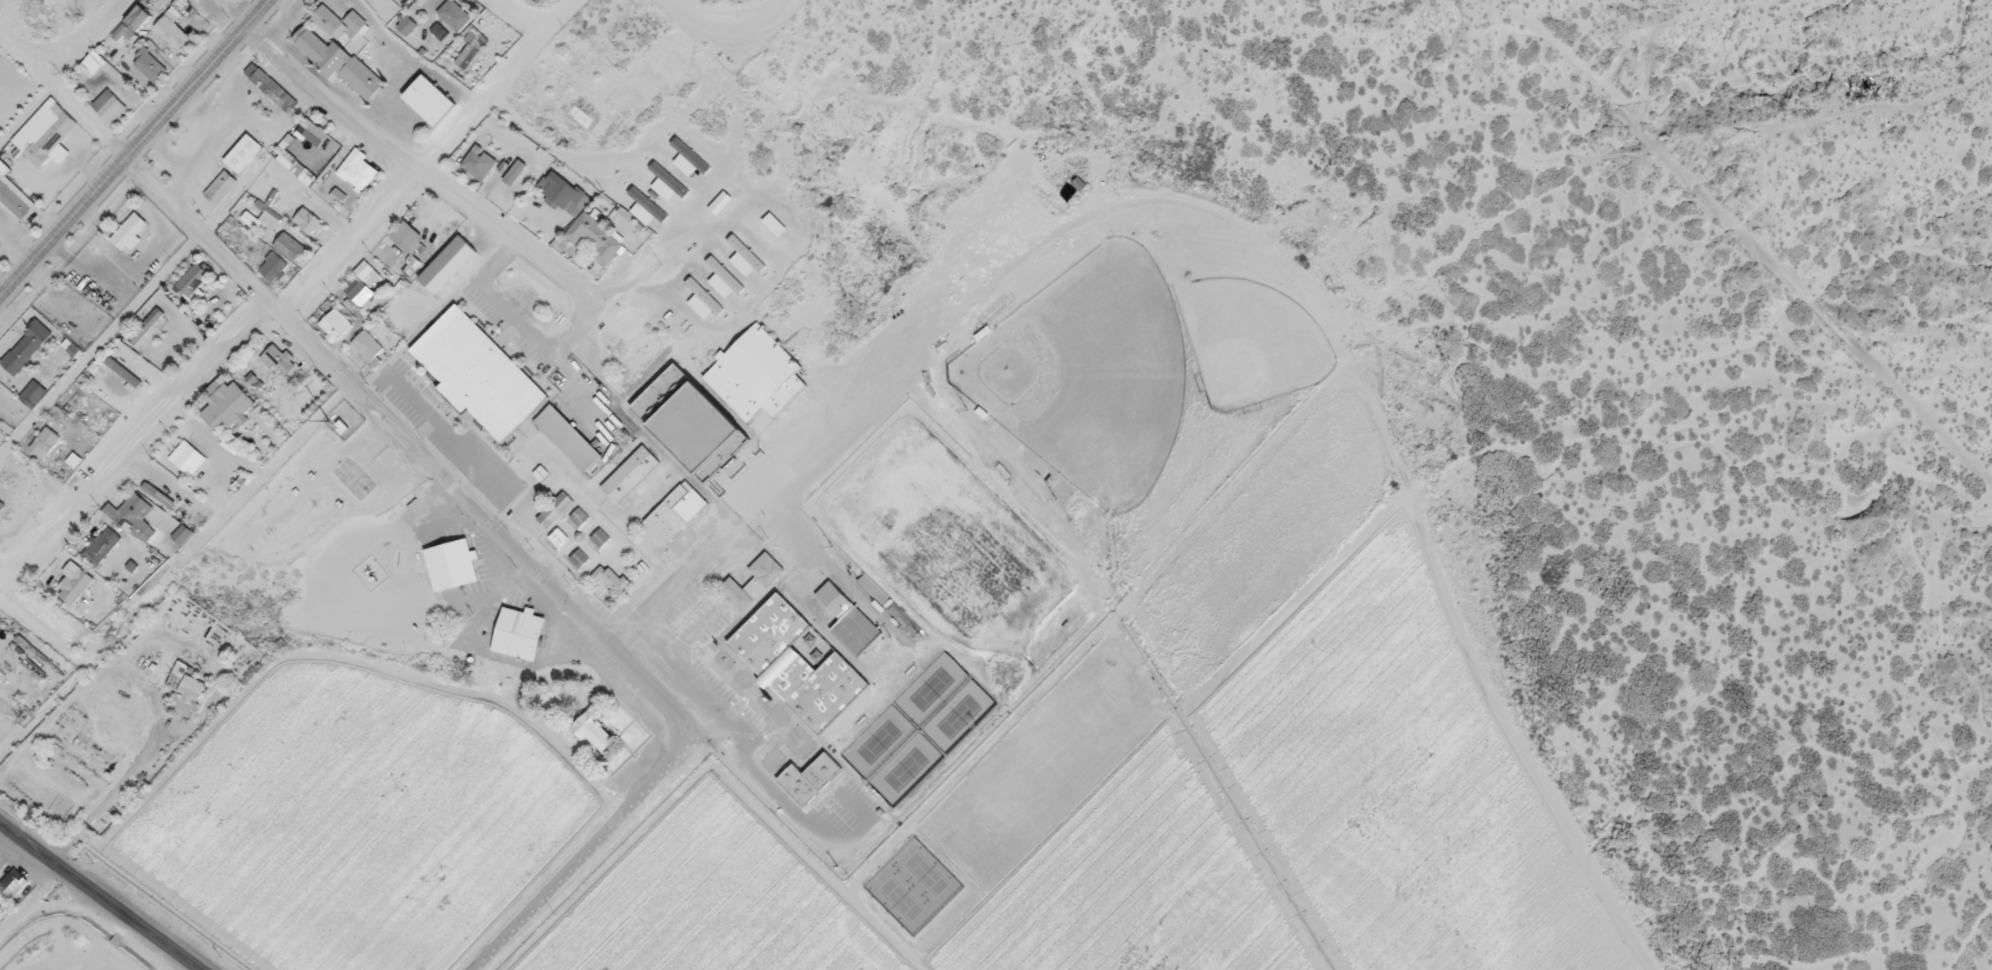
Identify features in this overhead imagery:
building: (455, 13)
road: (519, 18)
building: (336, 19)
road: (732, 33)
building: (150, 65)
building: (332, 70)
road: (65, 72)
building: (272, 89)
road: (63, 104)
building: (110, 104)
building: (423, 105)
building: (580, 115)
building: (600, 127)
building: (316, 132)
building: (49, 136)
road: (137, 152)
building: (243, 152)
building: (690, 154)
road: (398, 160)
building: (480, 160)
helipad: (460, 164)
building: (358, 166)
building: (666, 178)
building: (561, 185)
building: (221, 187)
building: (722, 198)
building: (645, 202)
building: (776, 218)
building: (308, 219)
building: (409, 232)
building: (597, 234)
building: (0, 241)
building: (289, 244)
road: (655, 247)
building: (745, 252)
building: (274, 266)
building: (442, 270)
building: (724, 274)
building: (195, 278)
road: (162, 279)
building: (366, 282)
building: (703, 296)
road: (296, 297)
building: (336, 321)
building: (146, 325)
road: (524, 328)
building: (27, 344)
park: (1253, 347)
building: (279, 357)
park: (1090, 378)
building: (473, 379)
building: (749, 379)
building: (34, 389)
building: (229, 404)
building: (684, 426)
building: (46, 439)
building: (562, 443)
road: (828, 444)
road: (414, 448)
building: (188, 455)
building: (625, 481)
building: (133, 512)
building: (548, 516)
building: (669, 520)
building: (104, 541)
building: (446, 571)
road: (3, 575)
building: (78, 578)
building: (753, 587)
building: (848, 624)
building: (514, 639)
building: (797, 669)
building: (192, 685)
building: (596, 728)
park: (919, 734)
building: (809, 783)
road: (34, 850)
road: (585, 855)
building: (12, 883)
park: (914, 891)
road: (132, 922)

